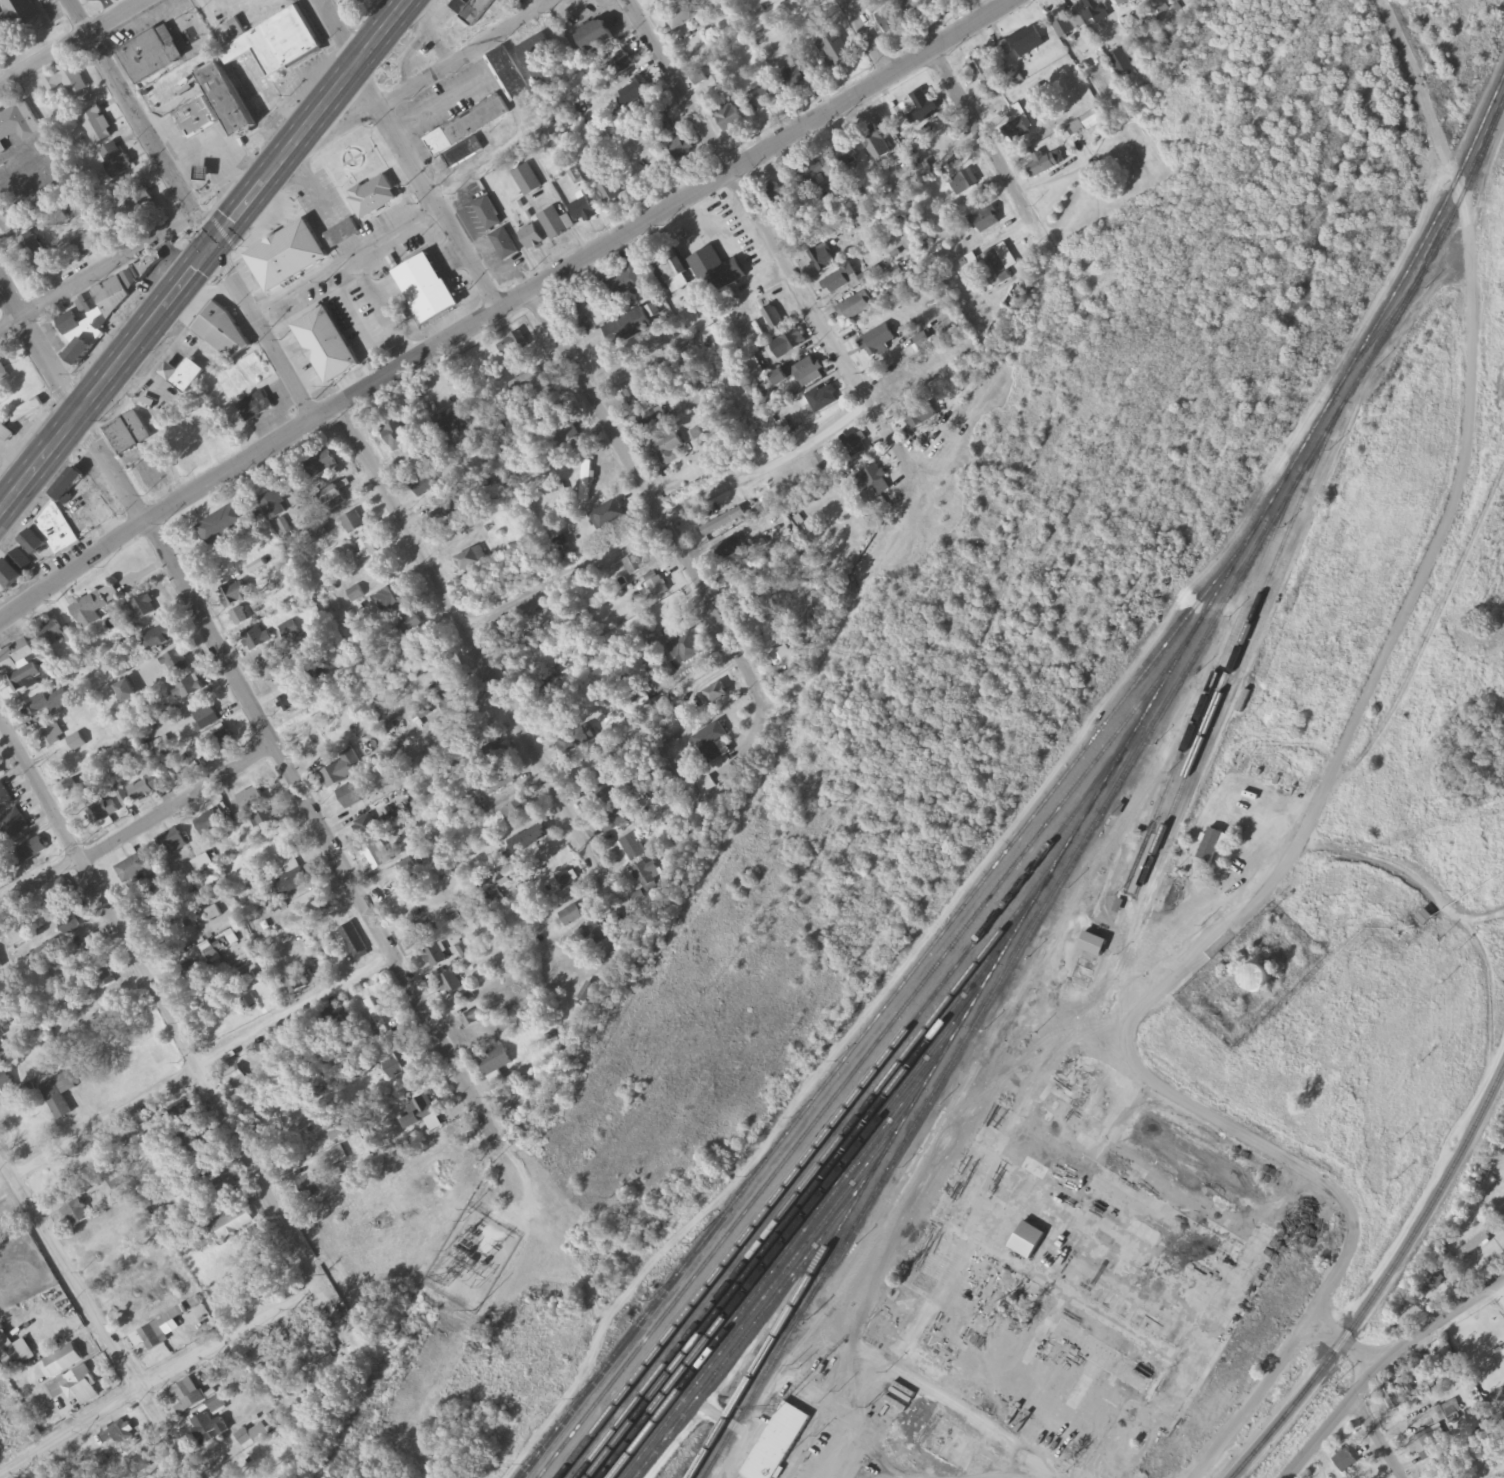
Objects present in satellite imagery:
building: (788, 0)
building: (1116, 0)
building: (940, 1)
building: (914, 8)
building: (472, 10)
building: (1095, 11)
building: (684, 15)
building: (15, 17)
building: (889, 21)
building: (1065, 24)
building: (237, 28)
building: (595, 37)
road: (868, 37)
building: (1026, 40)
road: (74, 45)
building: (835, 50)
building: (151, 55)
building: (538, 57)
building: (1121, 63)
road: (445, 65)
building: (620, 66)
building: (258, 69)
building: (508, 75)
building: (985, 78)
building: (796, 79)
building: (68, 82)
building: (635, 92)
building: (762, 100)
building: (922, 107)
building: (729, 118)
building: (196, 120)
building: (661, 122)
building: (17, 125)
building: (1086, 125)
building: (97, 126)
building: (468, 127)
building: (1018, 130)
building: (874, 143)
road: (989, 145)
building: (679, 148)
building: (463, 154)
building: (116, 160)
building: (1043, 166)
building: (816, 170)
building: (203, 175)
building: (527, 181)
building: (964, 183)
building: (609, 193)
building: (776, 197)
building: (140, 199)
road: (749, 203)
road: (438, 208)
road: (188, 209)
building: (582, 210)
building: (488, 215)
building: (11, 219)
building: (986, 221)
building: (553, 224)
building: (342, 233)
building: (531, 238)
building: (84, 245)
building: (504, 245)
traffic signals: (211, 248)
building: (36, 255)
road: (204, 255)
building: (287, 257)
building: (821, 259)
building: (671, 265)
building: (993, 269)
building: (717, 272)
road: (96, 273)
building: (139, 273)
building: (842, 280)
building: (627, 284)
building: (426, 289)
road: (505, 305)
building: (856, 307)
building: (586, 313)
building: (773, 318)
building: (94, 319)
building: (628, 329)
building: (222, 334)
building: (877, 340)
building: (789, 344)
building: (513, 345)
building: (326, 347)
railway: (1366, 348)
building: (809, 372)
building: (3, 374)
building: (182, 375)
building: (529, 381)
building: (904, 389)
building: (633, 397)
building: (823, 399)
building: (256, 407)
building: (26, 411)
building: (921, 417)
building: (651, 421)
road: (888, 431)
building: (129, 434)
building: (396, 438)
building: (853, 445)
building: (430, 448)
building: (668, 450)
building: (322, 468)
building: (586, 480)
building: (877, 484)
building: (68, 487)
road: (651, 493)
building: (331, 496)
building: (273, 506)
building: (608, 516)
road: (670, 520)
building: (353, 524)
building: (222, 525)
building: (283, 527)
building: (57, 531)
building: (34, 544)
building: (368, 548)
building: (727, 552)
building: (471, 559)
building: (635, 565)
building: (14, 573)
building: (657, 588)
building: (234, 595)
building: (391, 598)
building: (94, 607)
building: (144, 608)
building: (239, 617)
building: (409, 626)
building: (289, 631)
building: (50, 633)
building: (163, 639)
road: (468, 639)
building: (258, 641)
building: (683, 646)
building: (644, 655)
railway: (1236, 656)
building: (177, 664)
building: (19, 667)
building: (441, 679)
railway: (1210, 684)
building: (189, 688)
building: (545, 689)
building: (126, 693)
building: (715, 695)
building: (292, 701)
building: (46, 704)
building: (206, 719)
road: (262, 731)
building: (47, 735)
building: (311, 740)
building: (77, 743)
building: (222, 743)
building: (711, 743)
building: (485, 760)
building: (340, 772)
building: (499, 782)
building: (83, 785)
building: (143, 790)
building: (604, 795)
railway: (1111, 796)
building: (4, 798)
building: (348, 798)
railway: (1046, 798)
building: (250, 801)
building: (109, 809)
building: (516, 814)
building: (613, 822)
building: (265, 823)
building: (208, 824)
building: (13, 826)
road: (134, 827)
road: (1304, 831)
building: (529, 840)
building: (370, 843)
building: (172, 844)
building: (1211, 847)
building: (633, 849)
building: (32, 850)
building: (407, 868)
building: (134, 870)
building: (648, 874)
building: (291, 879)
building: (499, 880)
building: (562, 884)
building: (58, 895)
building: (309, 906)
building: (452, 917)
building: (571, 918)
building: (1425, 918)
building: (159, 922)
building: (74, 927)
building: (424, 933)
building: (594, 937)
building: (354, 943)
building: (1093, 945)
building: (464, 952)
building: (90, 953)
building: (435, 958)
building: (192, 971)
building: (104, 978)
building: (1256, 980)
building: (295, 985)
building: (451, 986)
railway: (980, 993)
building: (475, 1018)
building: (334, 1023)
road: (175, 1032)
building: (495, 1062)
building: (396, 1066)
railway: (861, 1066)
road: (203, 1069)
building: (5, 1082)
building: (240, 1082)
building: (59, 1095)
building: (422, 1115)
railway: (838, 1120)
building: (340, 1131)
building: (336, 1157)
building: (207, 1163)
railway: (814, 1172)
building: (115, 1180)
building: (309, 1187)
building: (226, 1189)
building: (76, 1214)
building: (233, 1223)
building: (1477, 1245)
power substation: (471, 1261)
power tower: (447, 1280)
railway: (1382, 1282)
building: (1431, 1287)
road: (91, 1310)
building: (308, 1325)
road: (1346, 1344)
building: (15, 1349)
building: (321, 1349)
railway: (775, 1349)
building: (65, 1361)
road: (1387, 1366)
road: (156, 1378)
building: (75, 1387)
building: (187, 1396)
power tower: (377, 1396)
building: (1393, 1398)
building: (1450, 1411)
building: (207, 1426)
building: (119, 1434)
building: (253, 1437)
road: (1375, 1440)
building: (1427, 1441)
building: (777, 1443)
building: (953, 1445)
building: (138, 1461)
building: (1347, 1464)
railway: (709, 1471)
building: (1435, 1472)
road: (1012, 1476)

